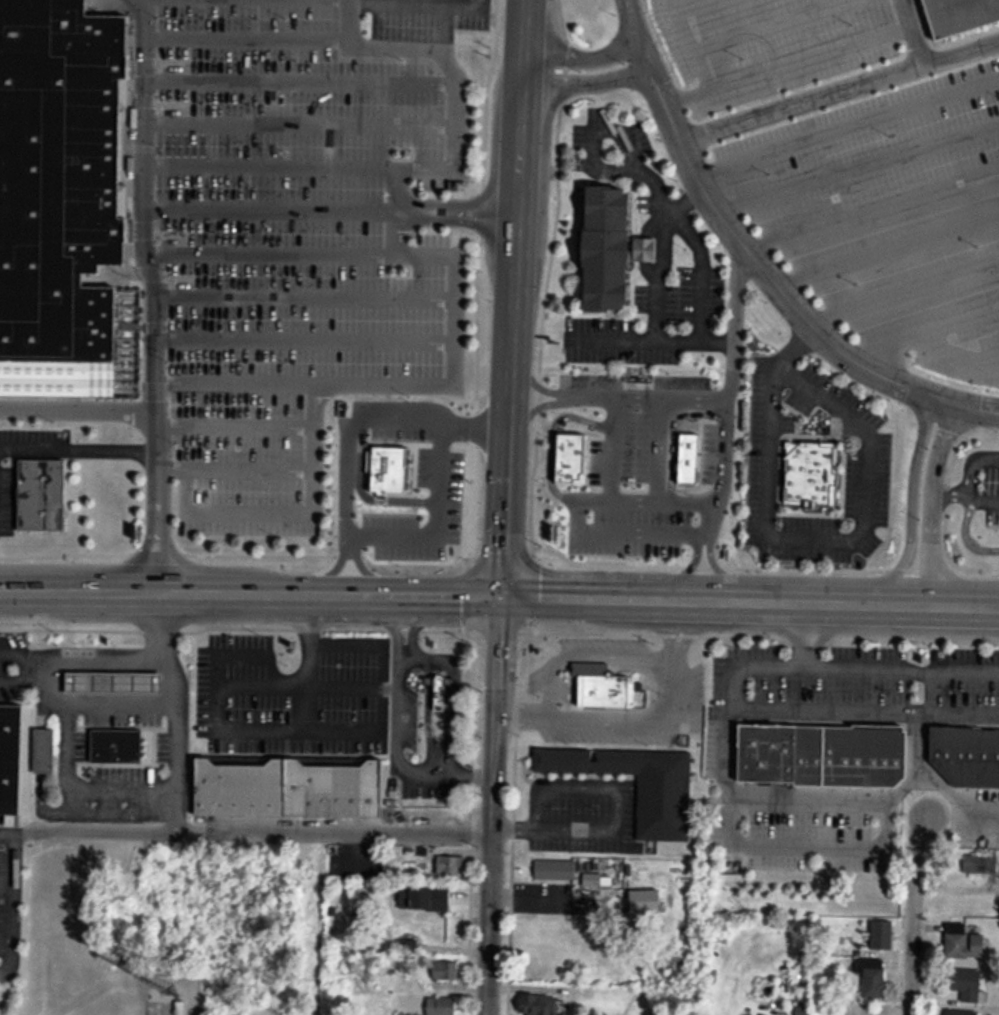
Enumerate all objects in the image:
building: (964, 15)
road: (908, 32)
road: (148, 39)
road: (251, 39)
road: (434, 49)
road: (583, 58)
road: (148, 81)
road: (299, 82)
road: (451, 84)
road: (586, 84)
road: (837, 88)
road: (148, 124)
road: (299, 124)
road: (450, 125)
road: (147, 167)
road: (301, 168)
building: (62, 177)
road: (328, 211)
parking lot: (296, 236)
building: (605, 246)
road: (148, 254)
road: (756, 262)
road: (154, 293)
road: (513, 297)
road: (160, 299)
road: (309, 299)
road: (452, 313)
road: (161, 342)
road: (309, 343)
road: (162, 383)
road: (616, 392)
road: (78, 409)
road: (721, 418)
road: (163, 426)
road: (242, 427)
building: (382, 427)
building: (682, 454)
building: (565, 455)
building: (618, 459)
building: (383, 465)
road: (164, 469)
road: (241, 469)
building: (805, 470)
building: (37, 490)
road: (930, 505)
road: (910, 509)
road: (290, 514)
building: (361, 514)
building: (440, 521)
road: (251, 593)
road: (751, 601)
road: (805, 634)
road: (402, 655)
road: (122, 660)
road: (19, 665)
road: (804, 665)
building: (118, 682)
road: (219, 684)
building: (437, 685)
road: (383, 688)
road: (930, 689)
building: (597, 690)
road: (120, 705)
road: (870, 708)
road: (957, 710)
road: (175, 740)
building: (119, 746)
building: (46, 751)
building: (964, 751)
building: (819, 752)
building: (12, 758)
road: (472, 769)
road: (446, 771)
road: (67, 776)
building: (638, 784)
building: (288, 786)
road: (612, 789)
road: (954, 797)
road: (494, 805)
road: (109, 812)
road: (6, 828)
road: (252, 829)
road: (513, 830)
road: (883, 839)
building: (451, 865)
building: (555, 870)
building: (425, 898)
road: (9, 900)
road: (913, 914)
building: (883, 935)
building: (965, 943)
building: (445, 970)
building: (873, 977)
building: (970, 985)
building: (442, 1005)
building: (537, 1005)
building: (179, 1010)
building: (962, 1013)

